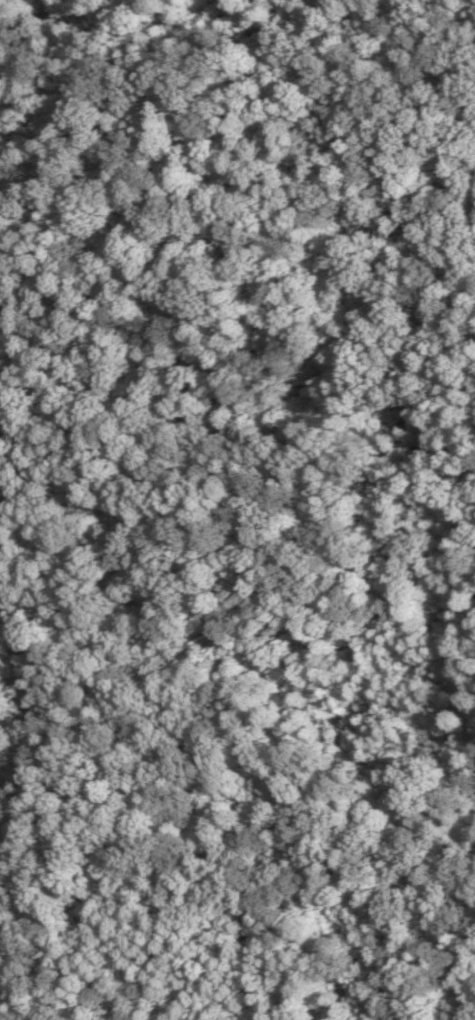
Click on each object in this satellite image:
road: (36, 51)
road: (34, 719)

